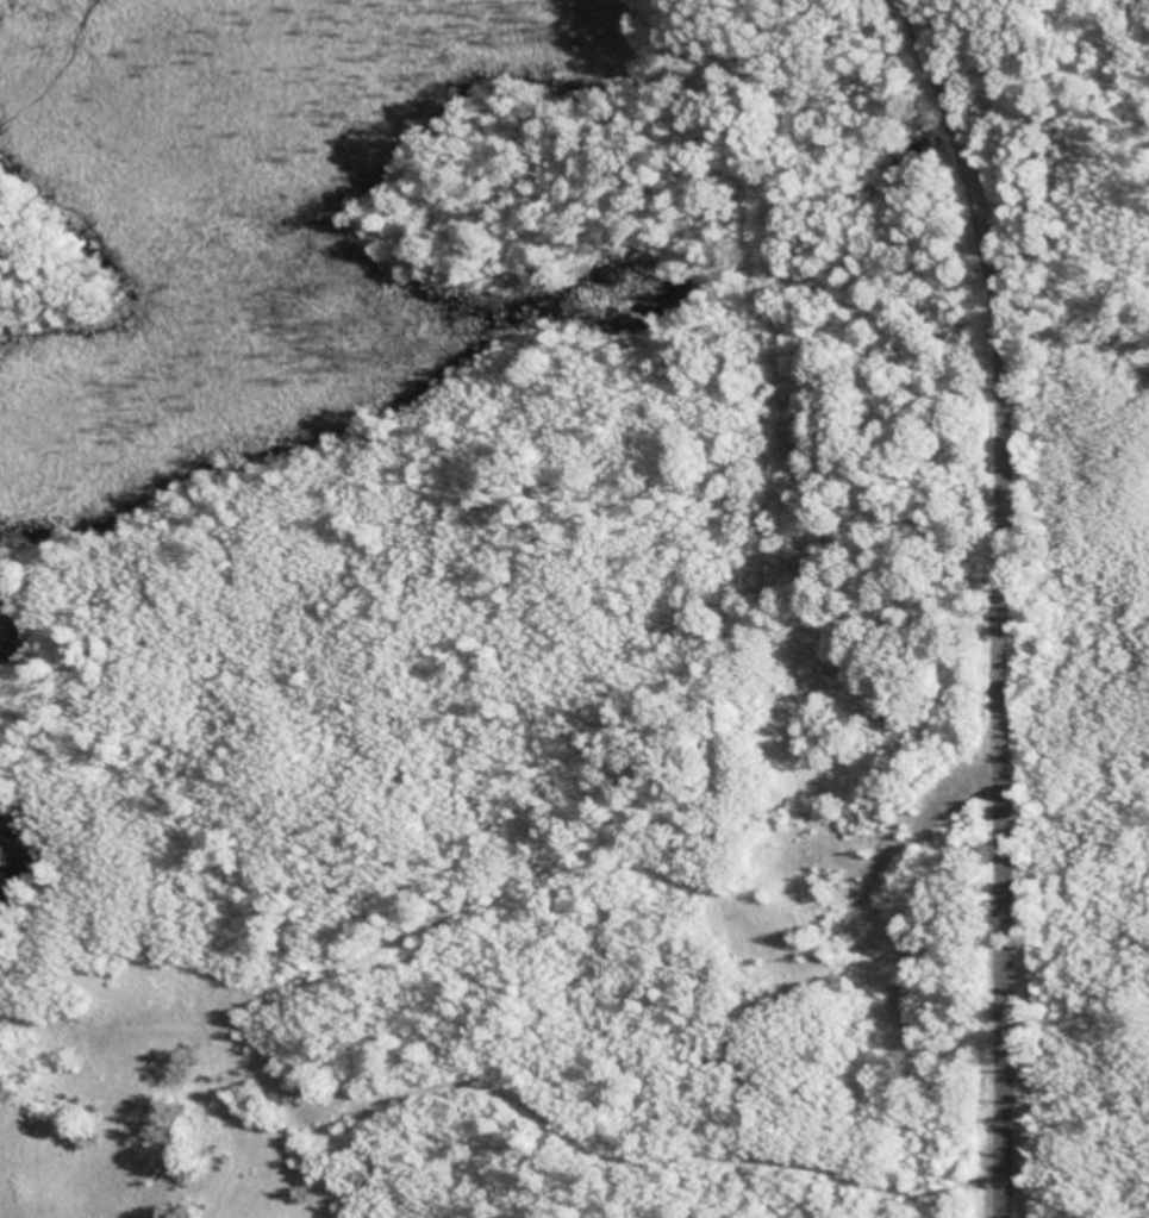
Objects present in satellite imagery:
road: (995, 602)

